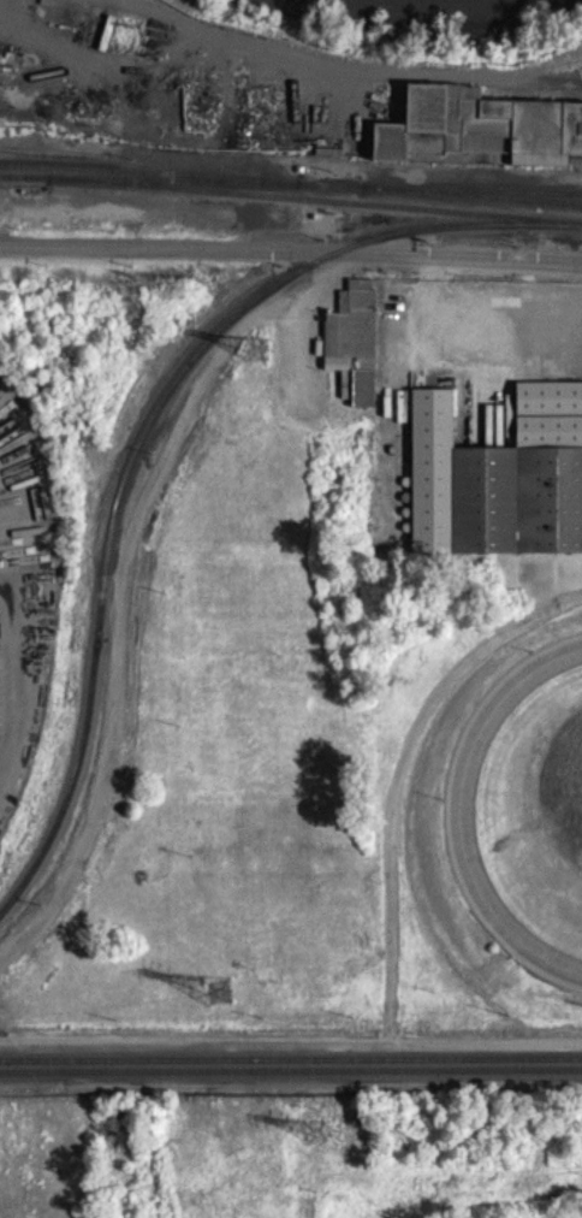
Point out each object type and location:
building: (480, 136)
railway: (141, 182)
railway: (18, 187)
railway: (309, 195)
railway: (480, 206)
railway: (316, 208)
road: (291, 249)
power tower: (176, 285)
road: (459, 303)
building: (356, 349)
power tower: (259, 350)
railway: (147, 441)
building: (500, 486)
road: (462, 780)
road: (552, 962)
road: (392, 982)
power tower: (222, 991)
road: (487, 1053)
railway: (291, 1058)
railway: (291, 1068)
power tower: (323, 1133)

